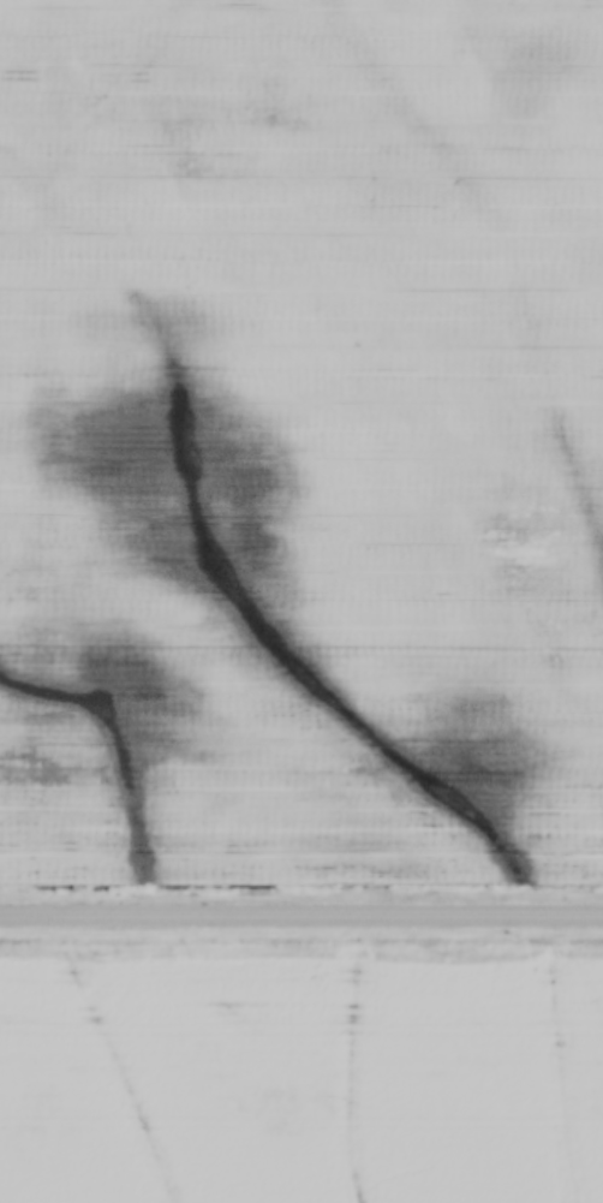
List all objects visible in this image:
road: (301, 812)
road: (301, 910)
crop: (300, 1086)

